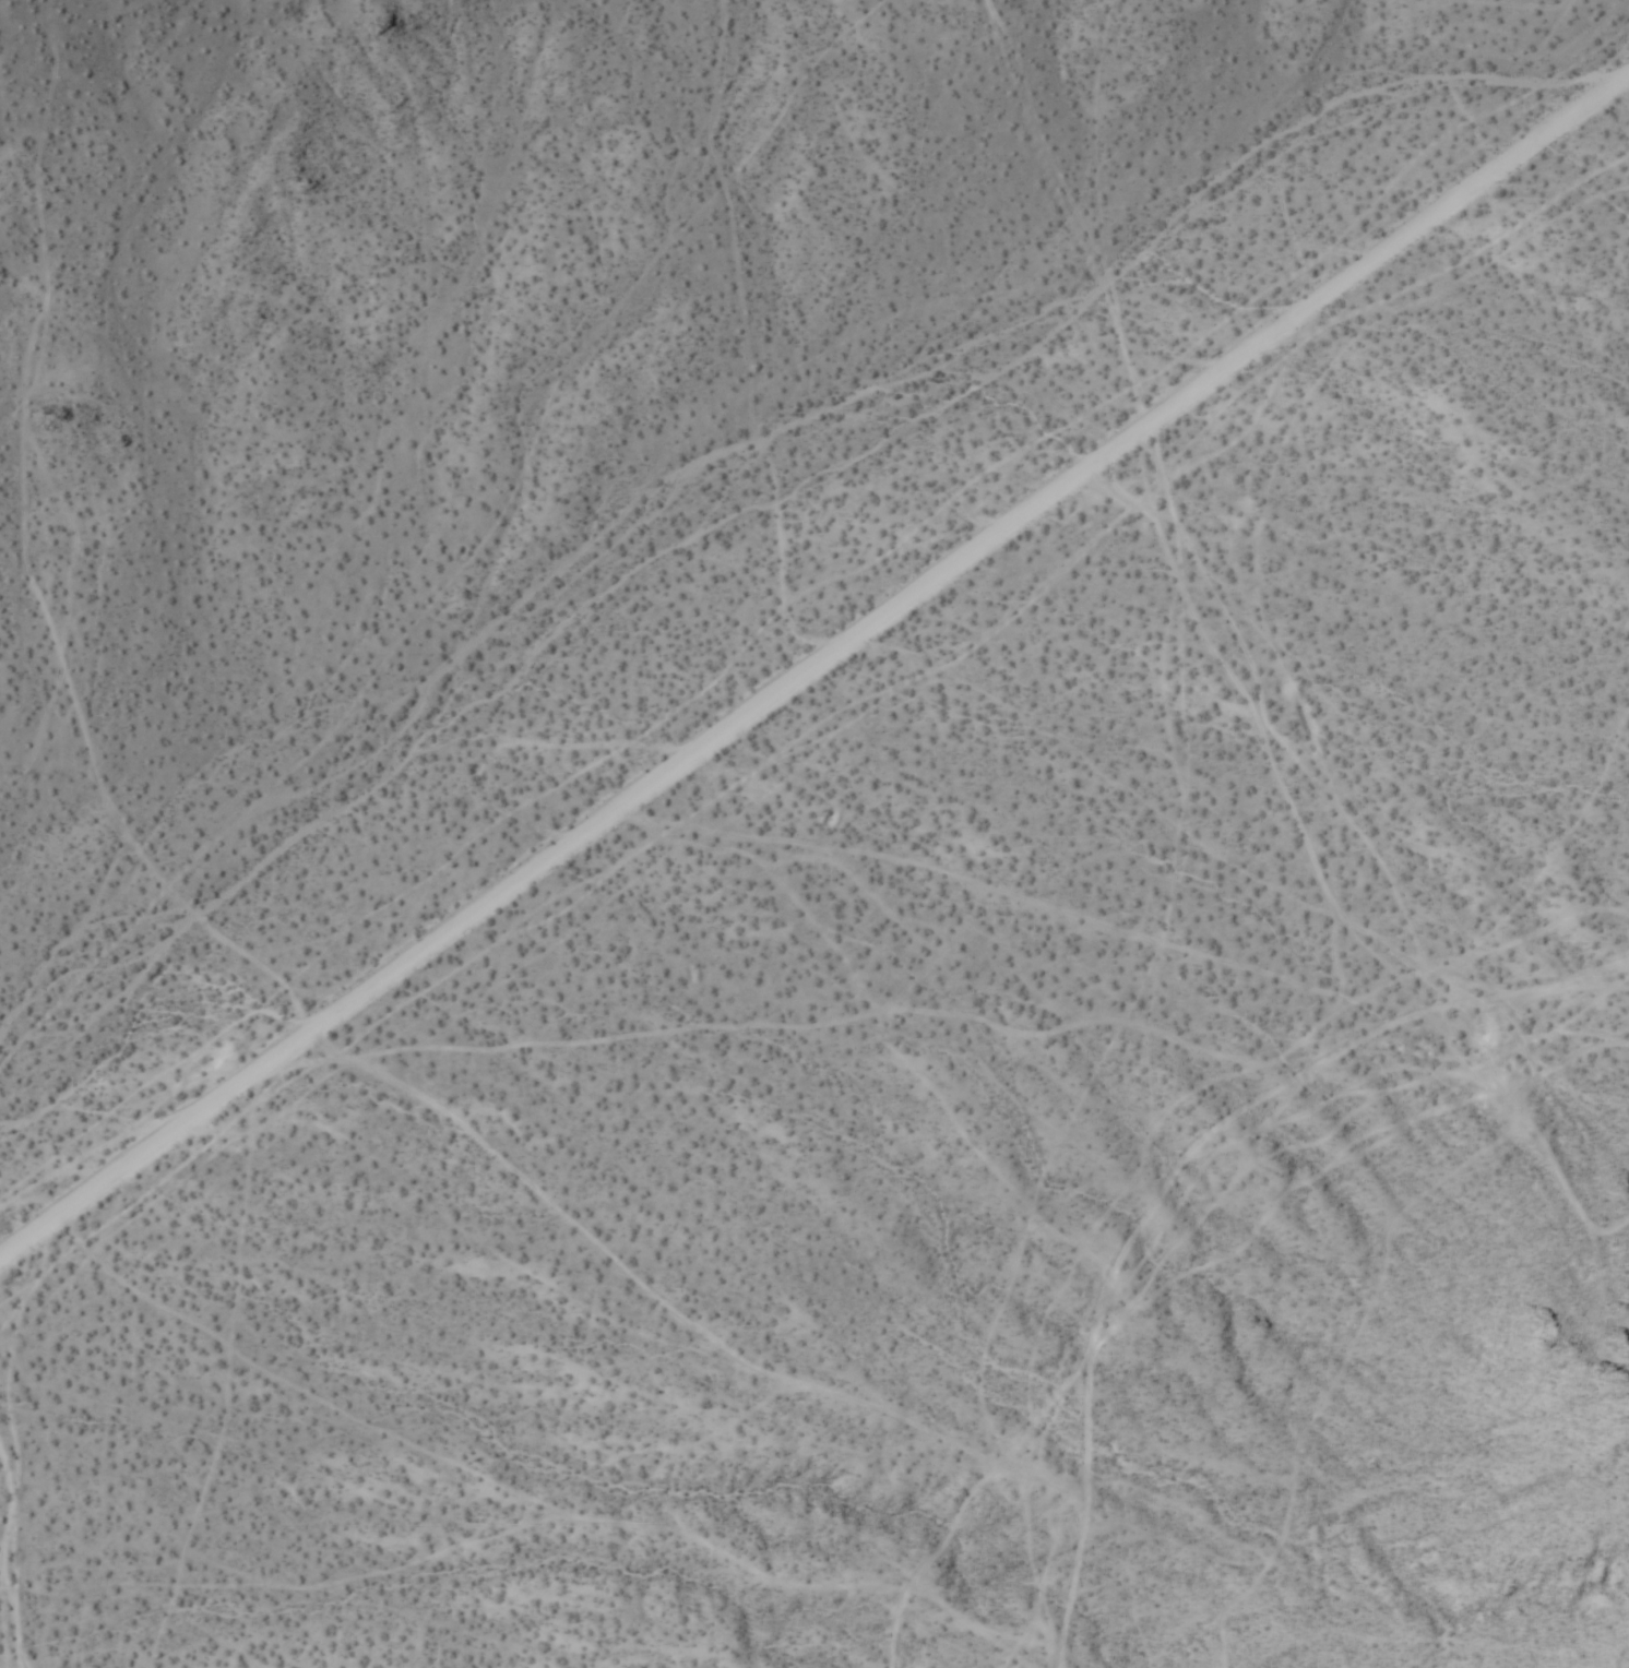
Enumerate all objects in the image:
road: (813, 668)

